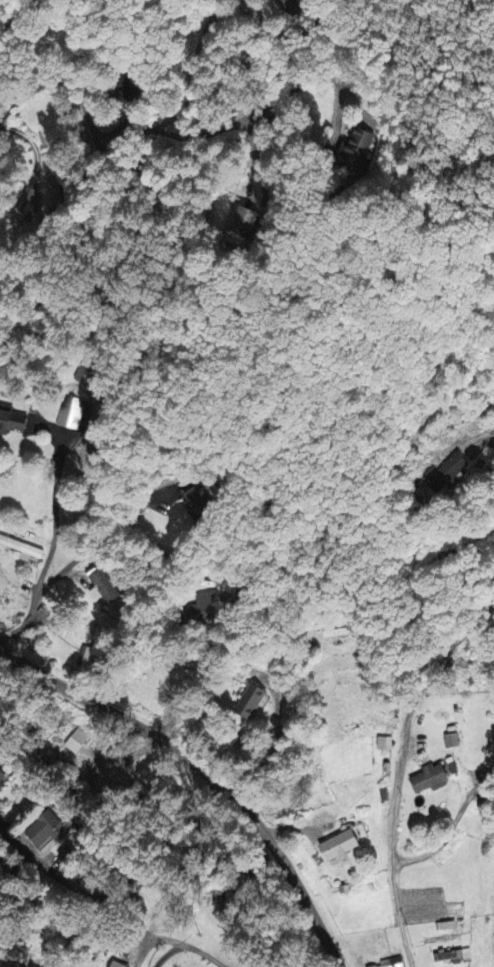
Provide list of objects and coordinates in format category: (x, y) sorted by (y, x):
road: (299, 85)
road: (99, 131)
building: (50, 196)
building: (70, 415)
building: (12, 424)
road: (493, 430)
building: (453, 472)
building: (202, 505)
road: (55, 514)
building: (28, 553)
road: (69, 565)
building: (103, 585)
road: (204, 675)
building: (252, 702)
road: (285, 725)
building: (79, 740)
building: (452, 742)
building: (386, 744)
road: (397, 771)
road: (204, 772)
building: (436, 778)
building: (3, 779)
road: (450, 829)
building: (342, 847)
road: (47, 870)
road: (131, 876)
road: (167, 953)
road: (203, 954)
building: (458, 957)
building: (394, 963)
building: (118, 965)

